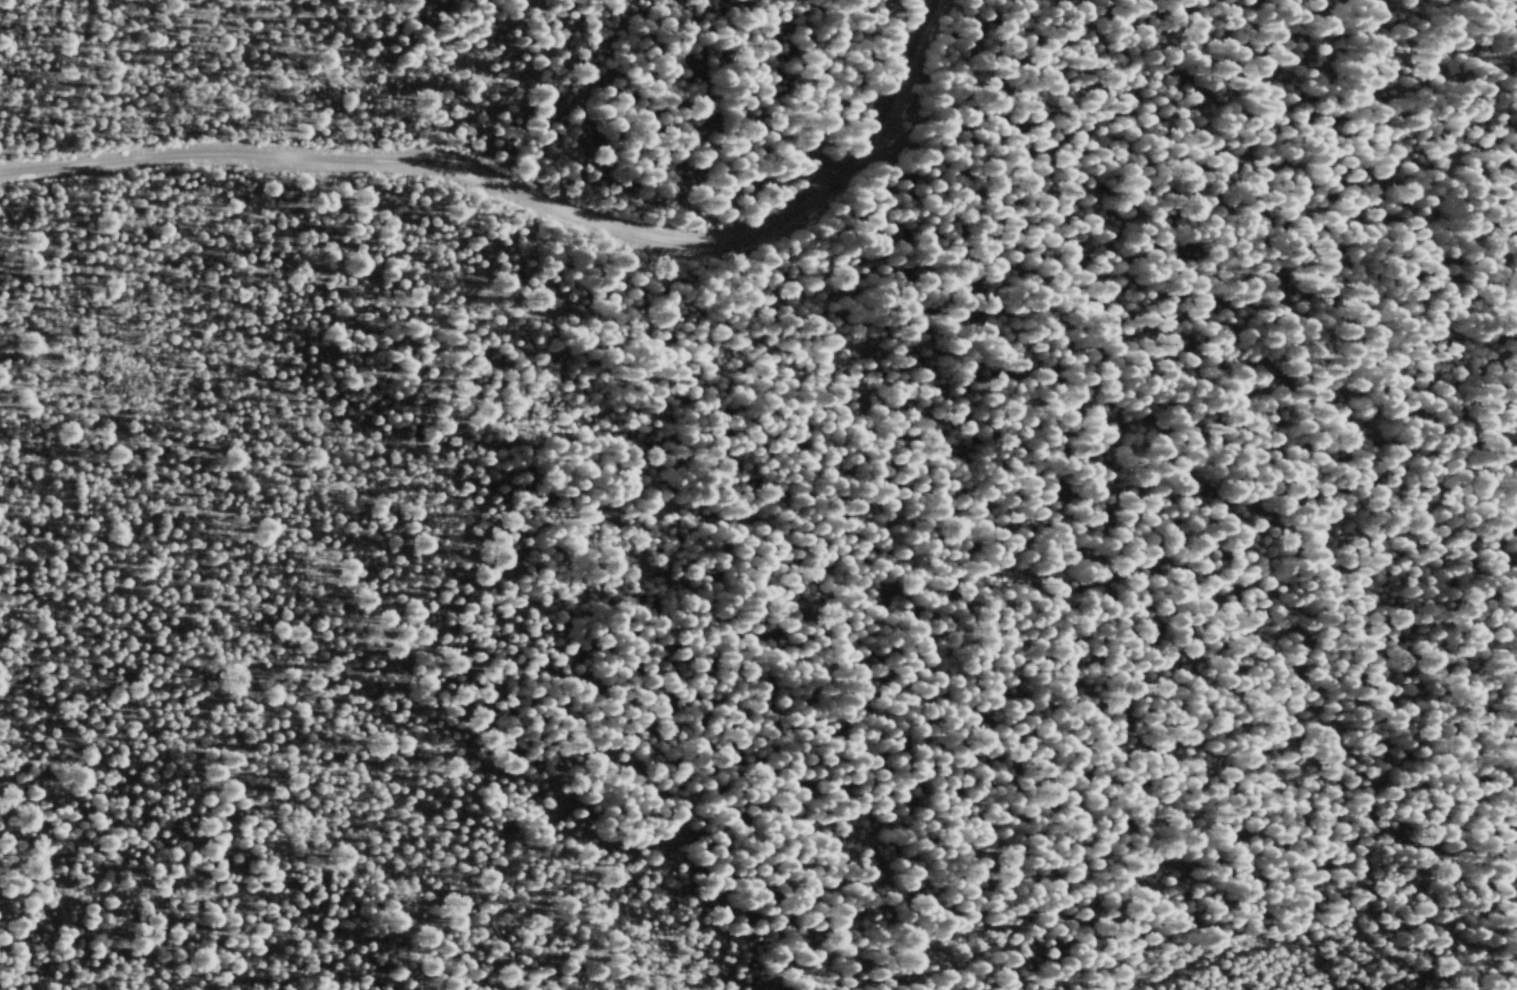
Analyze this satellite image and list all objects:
road: (532, 200)

